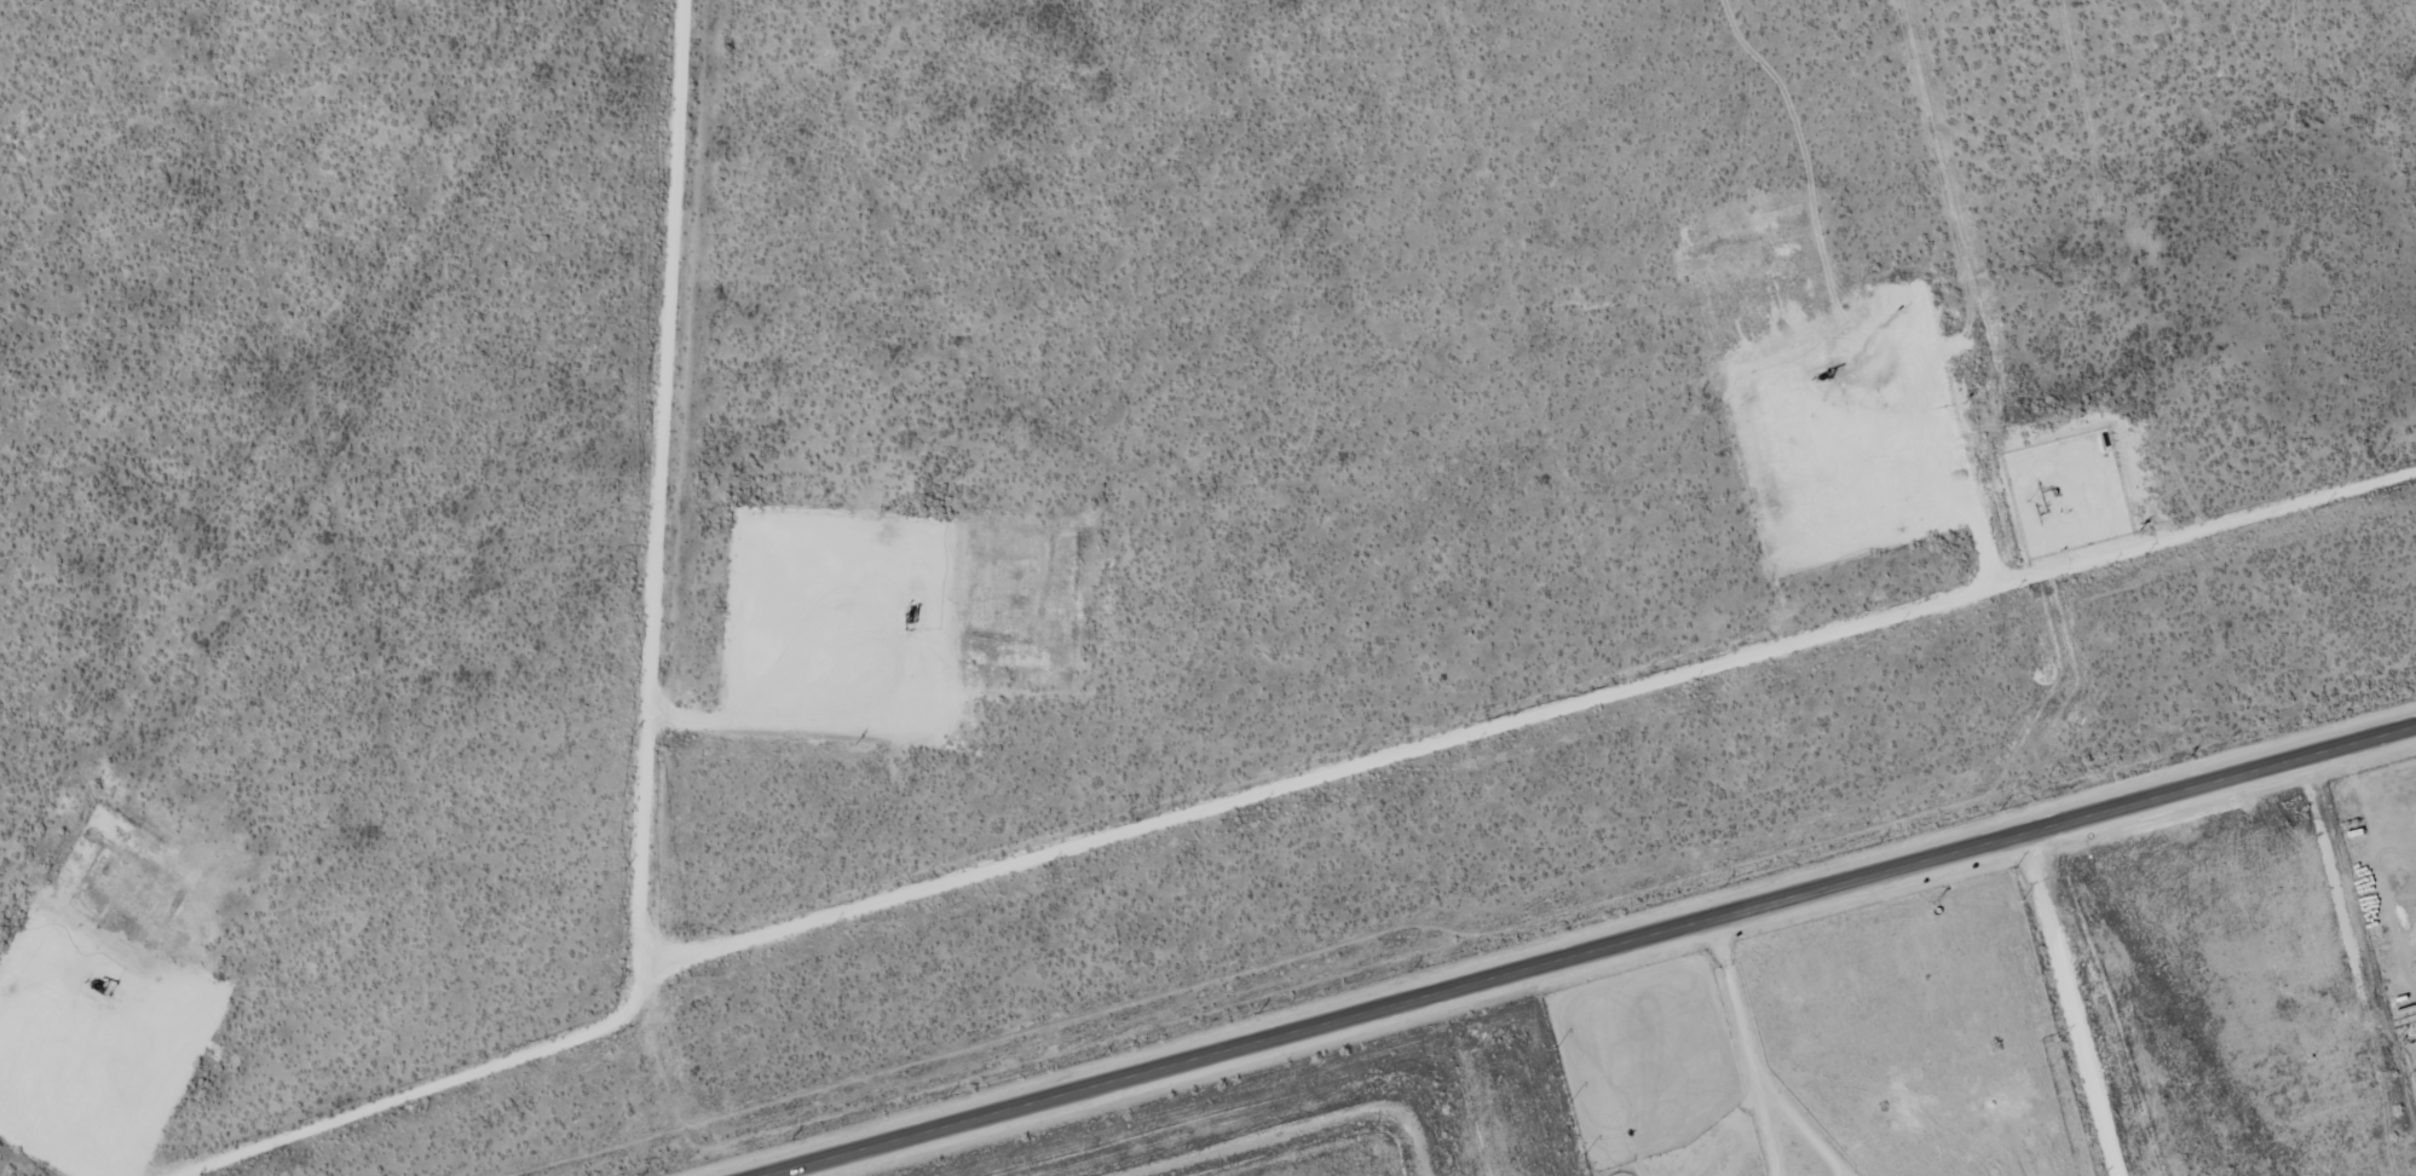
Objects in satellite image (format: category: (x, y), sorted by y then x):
road: (1597, 952)
road: (2085, 1003)
road: (1751, 1063)

